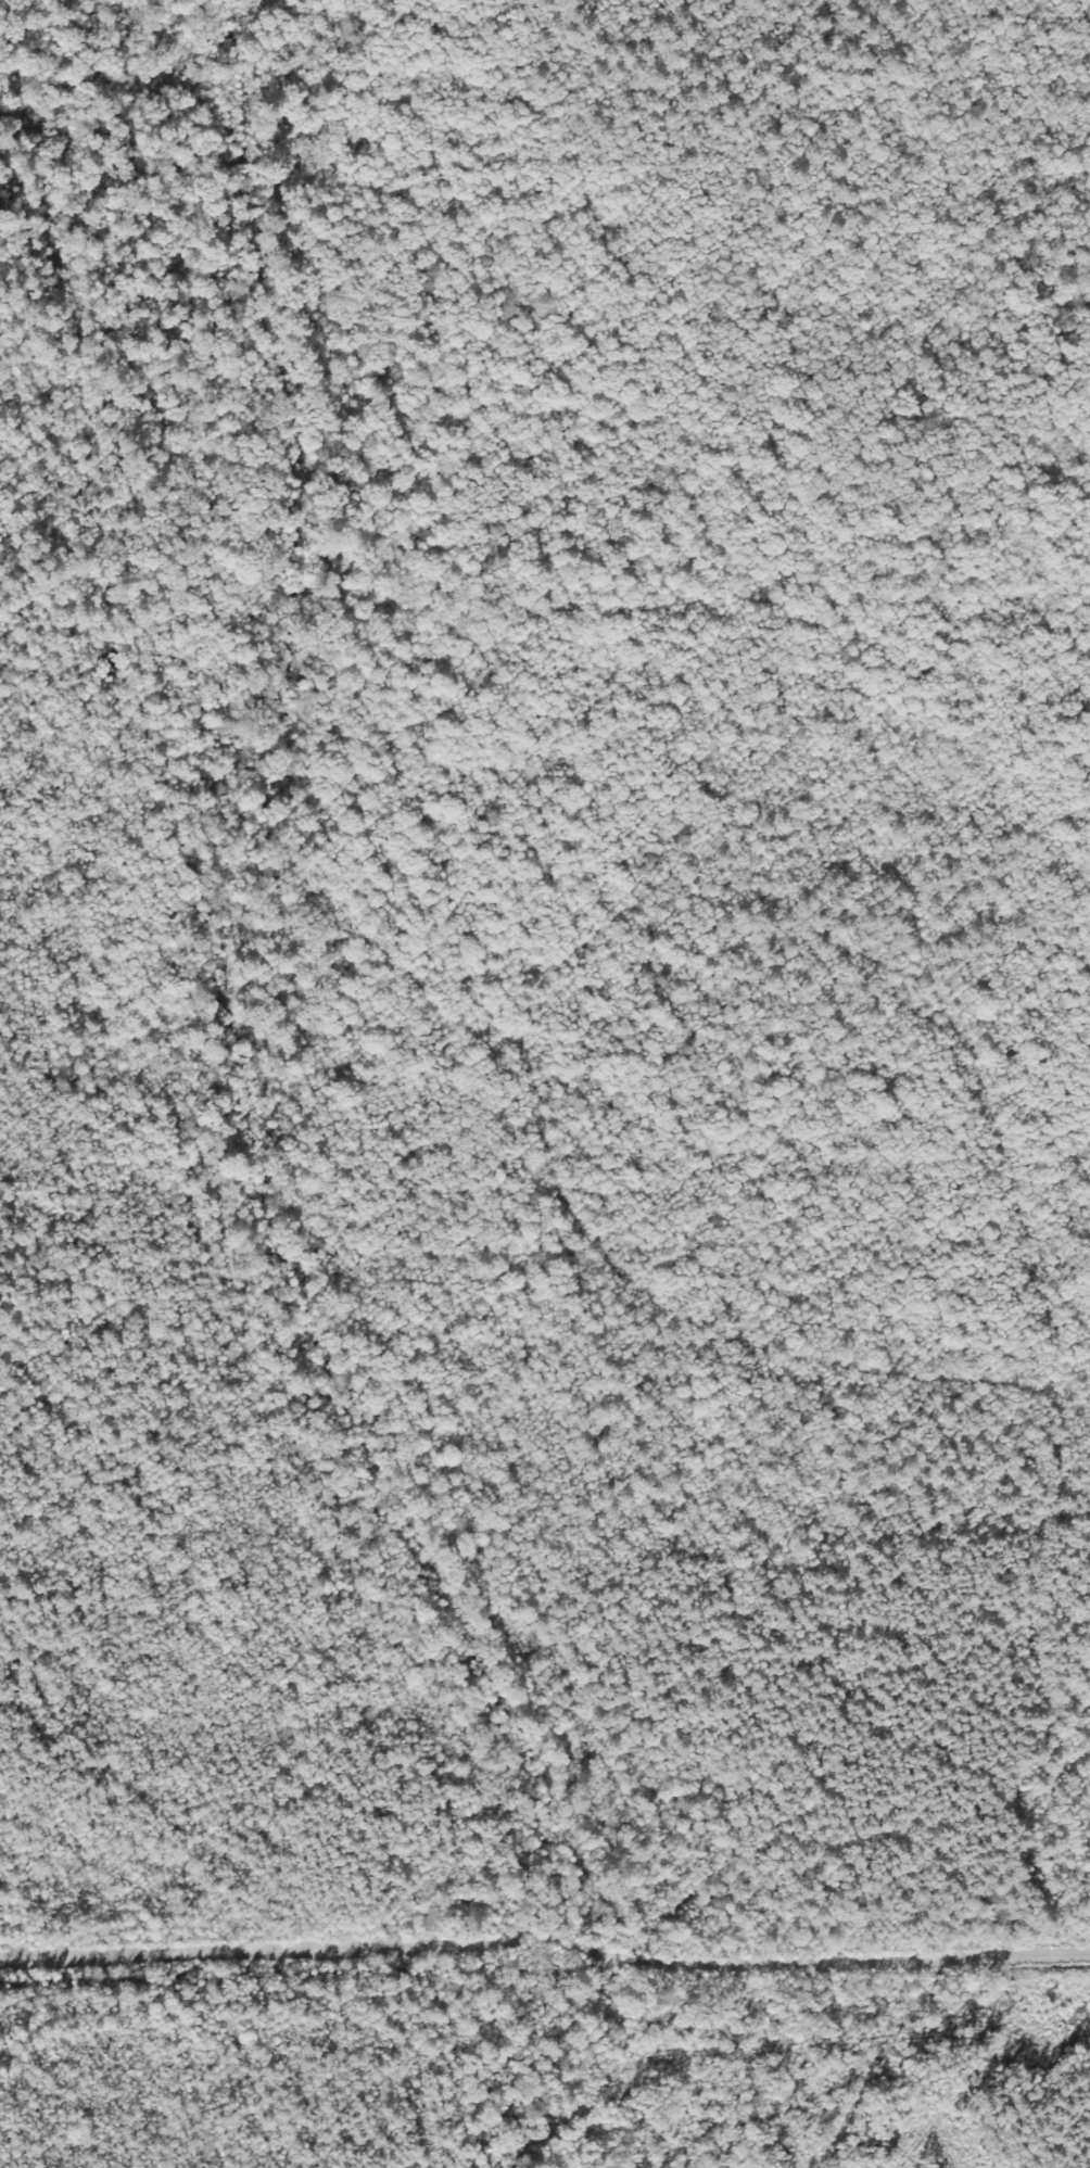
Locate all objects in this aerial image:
road: (545, 1943)

